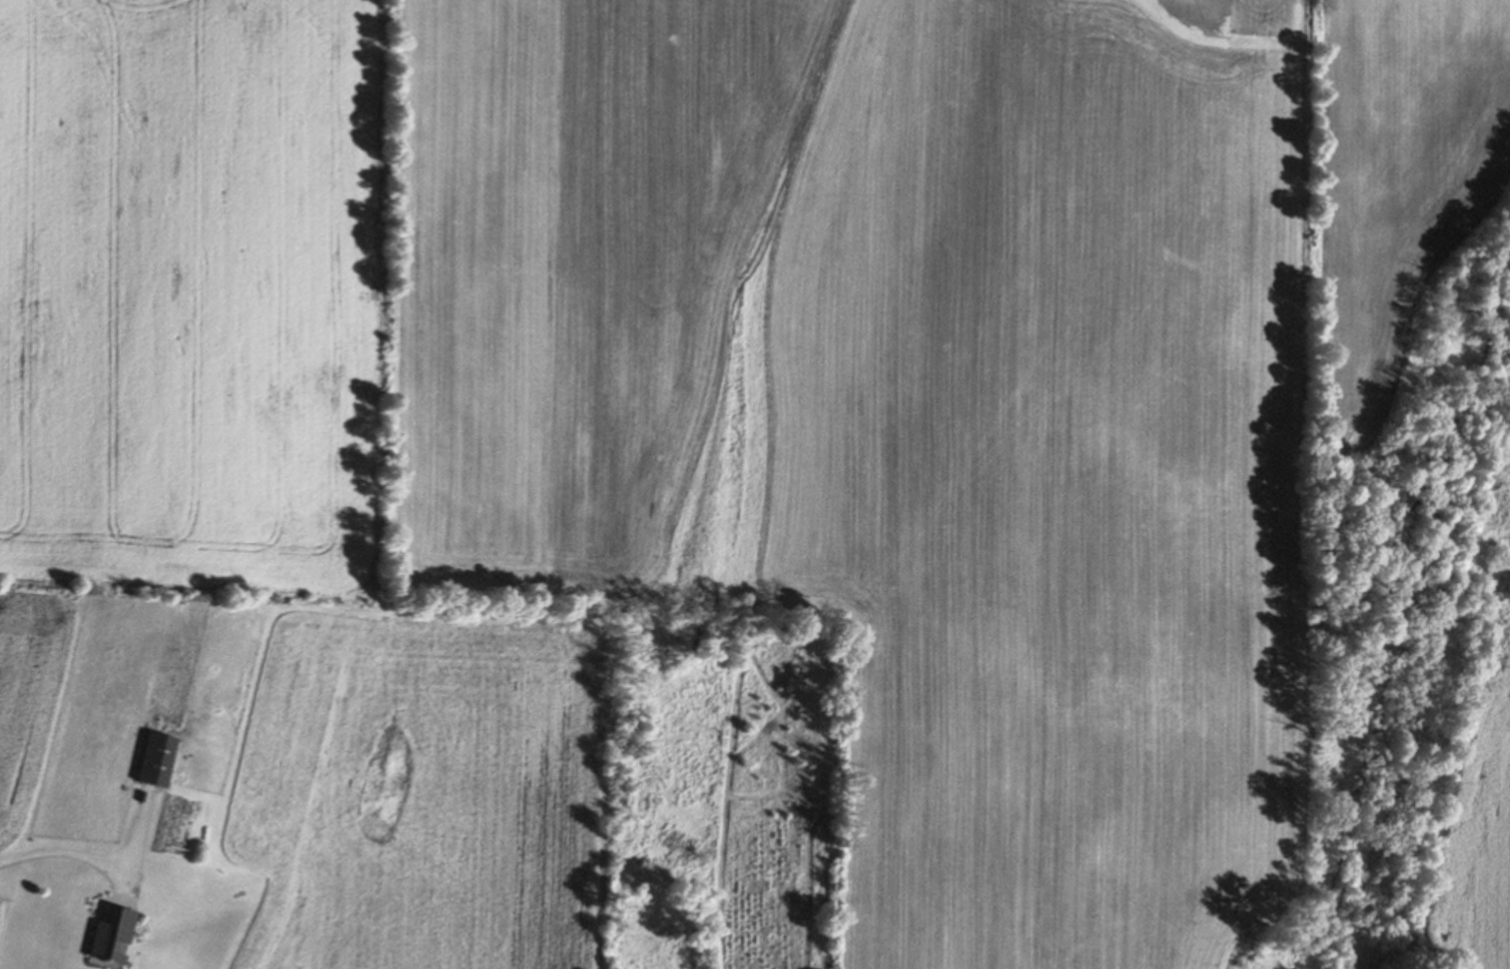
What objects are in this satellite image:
building: (1184, 3)
building: (150, 761)
road: (58, 854)
building: (104, 937)

